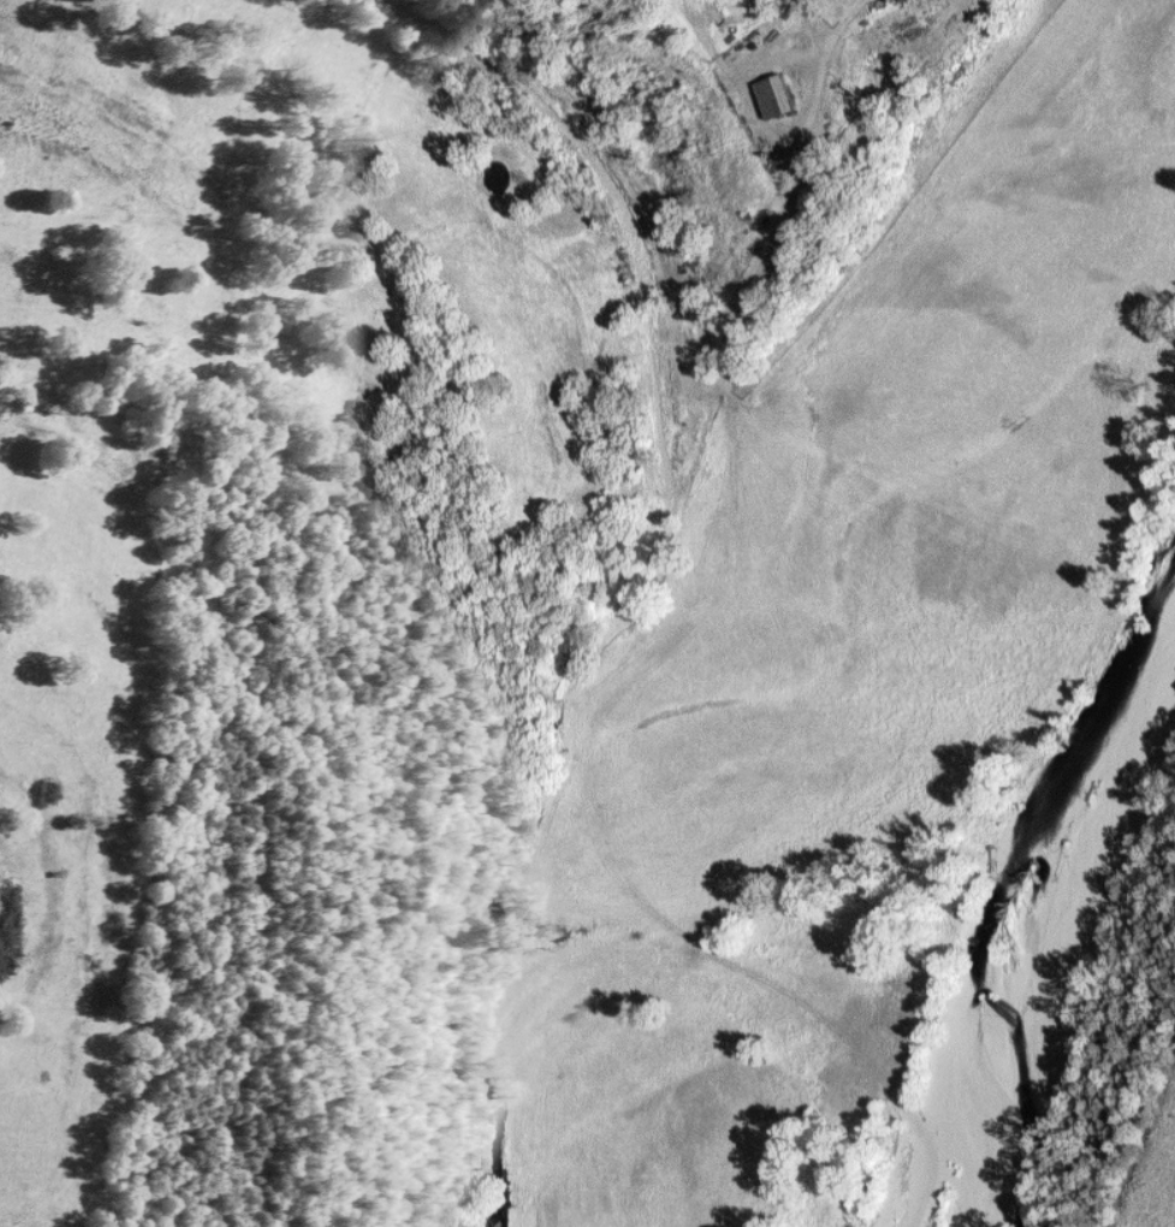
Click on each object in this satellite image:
road: (865, 24)
building: (779, 95)

